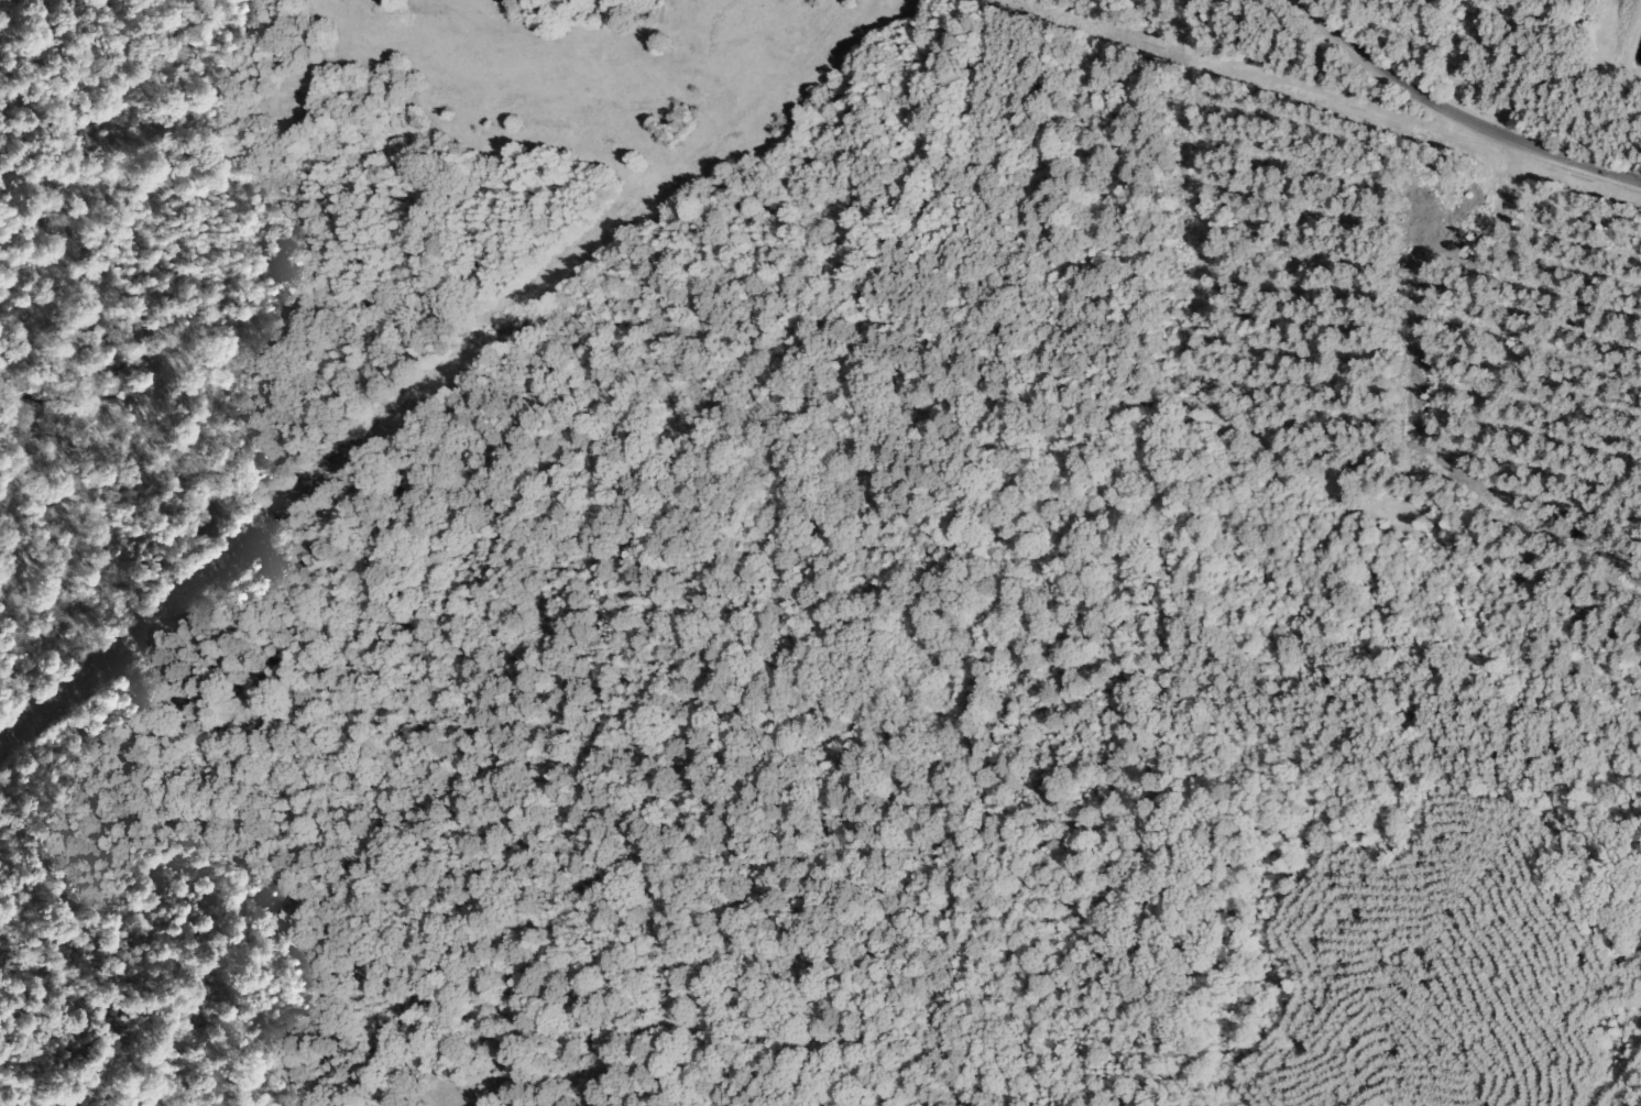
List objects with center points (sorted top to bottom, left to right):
road: (1462, 123)

